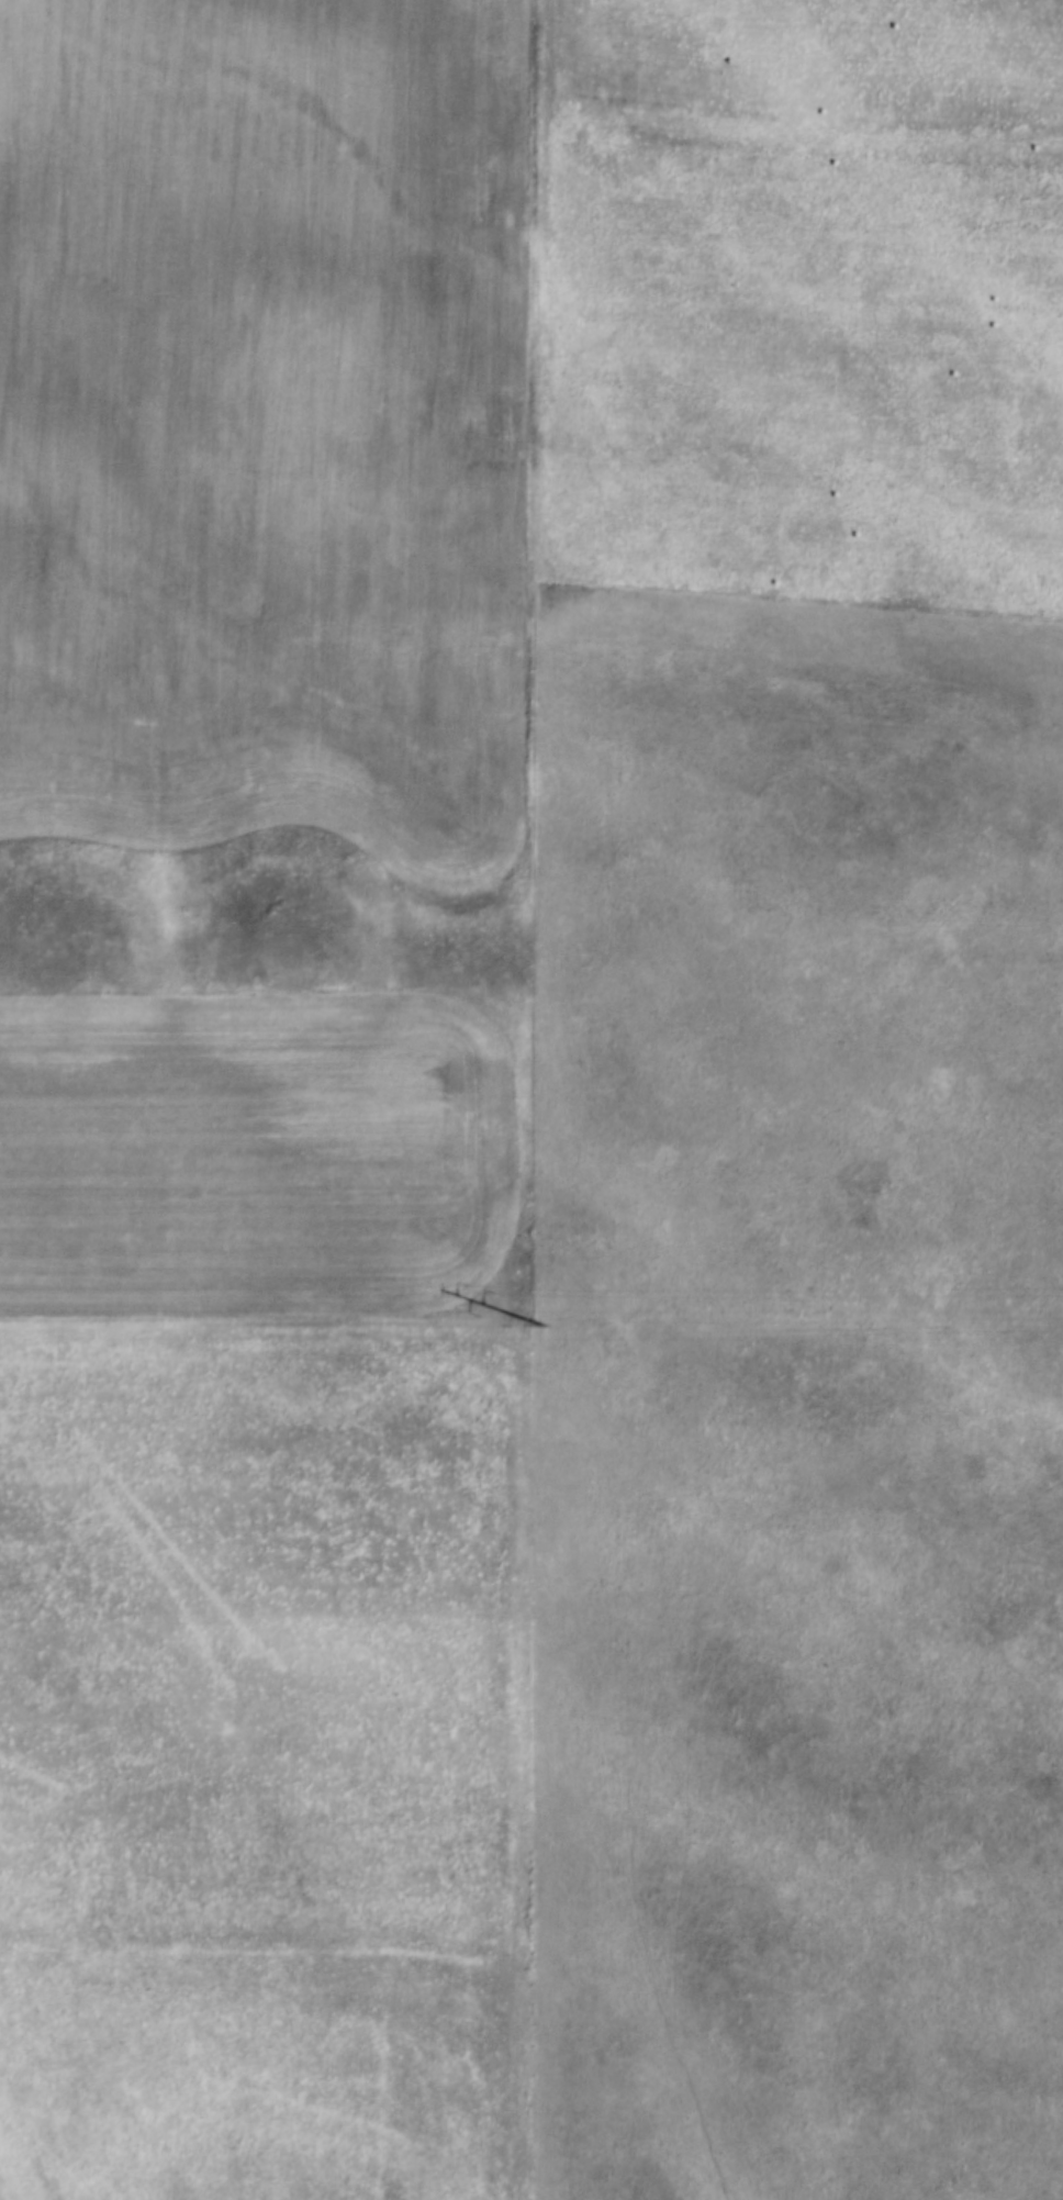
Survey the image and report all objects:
power tower: (541, 1319)
road: (519, 1771)

